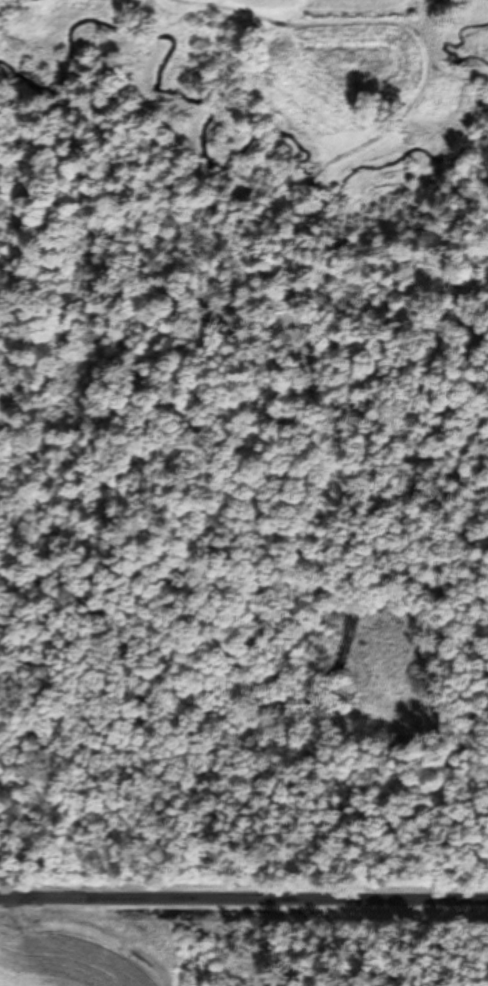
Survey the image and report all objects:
road: (244, 902)

